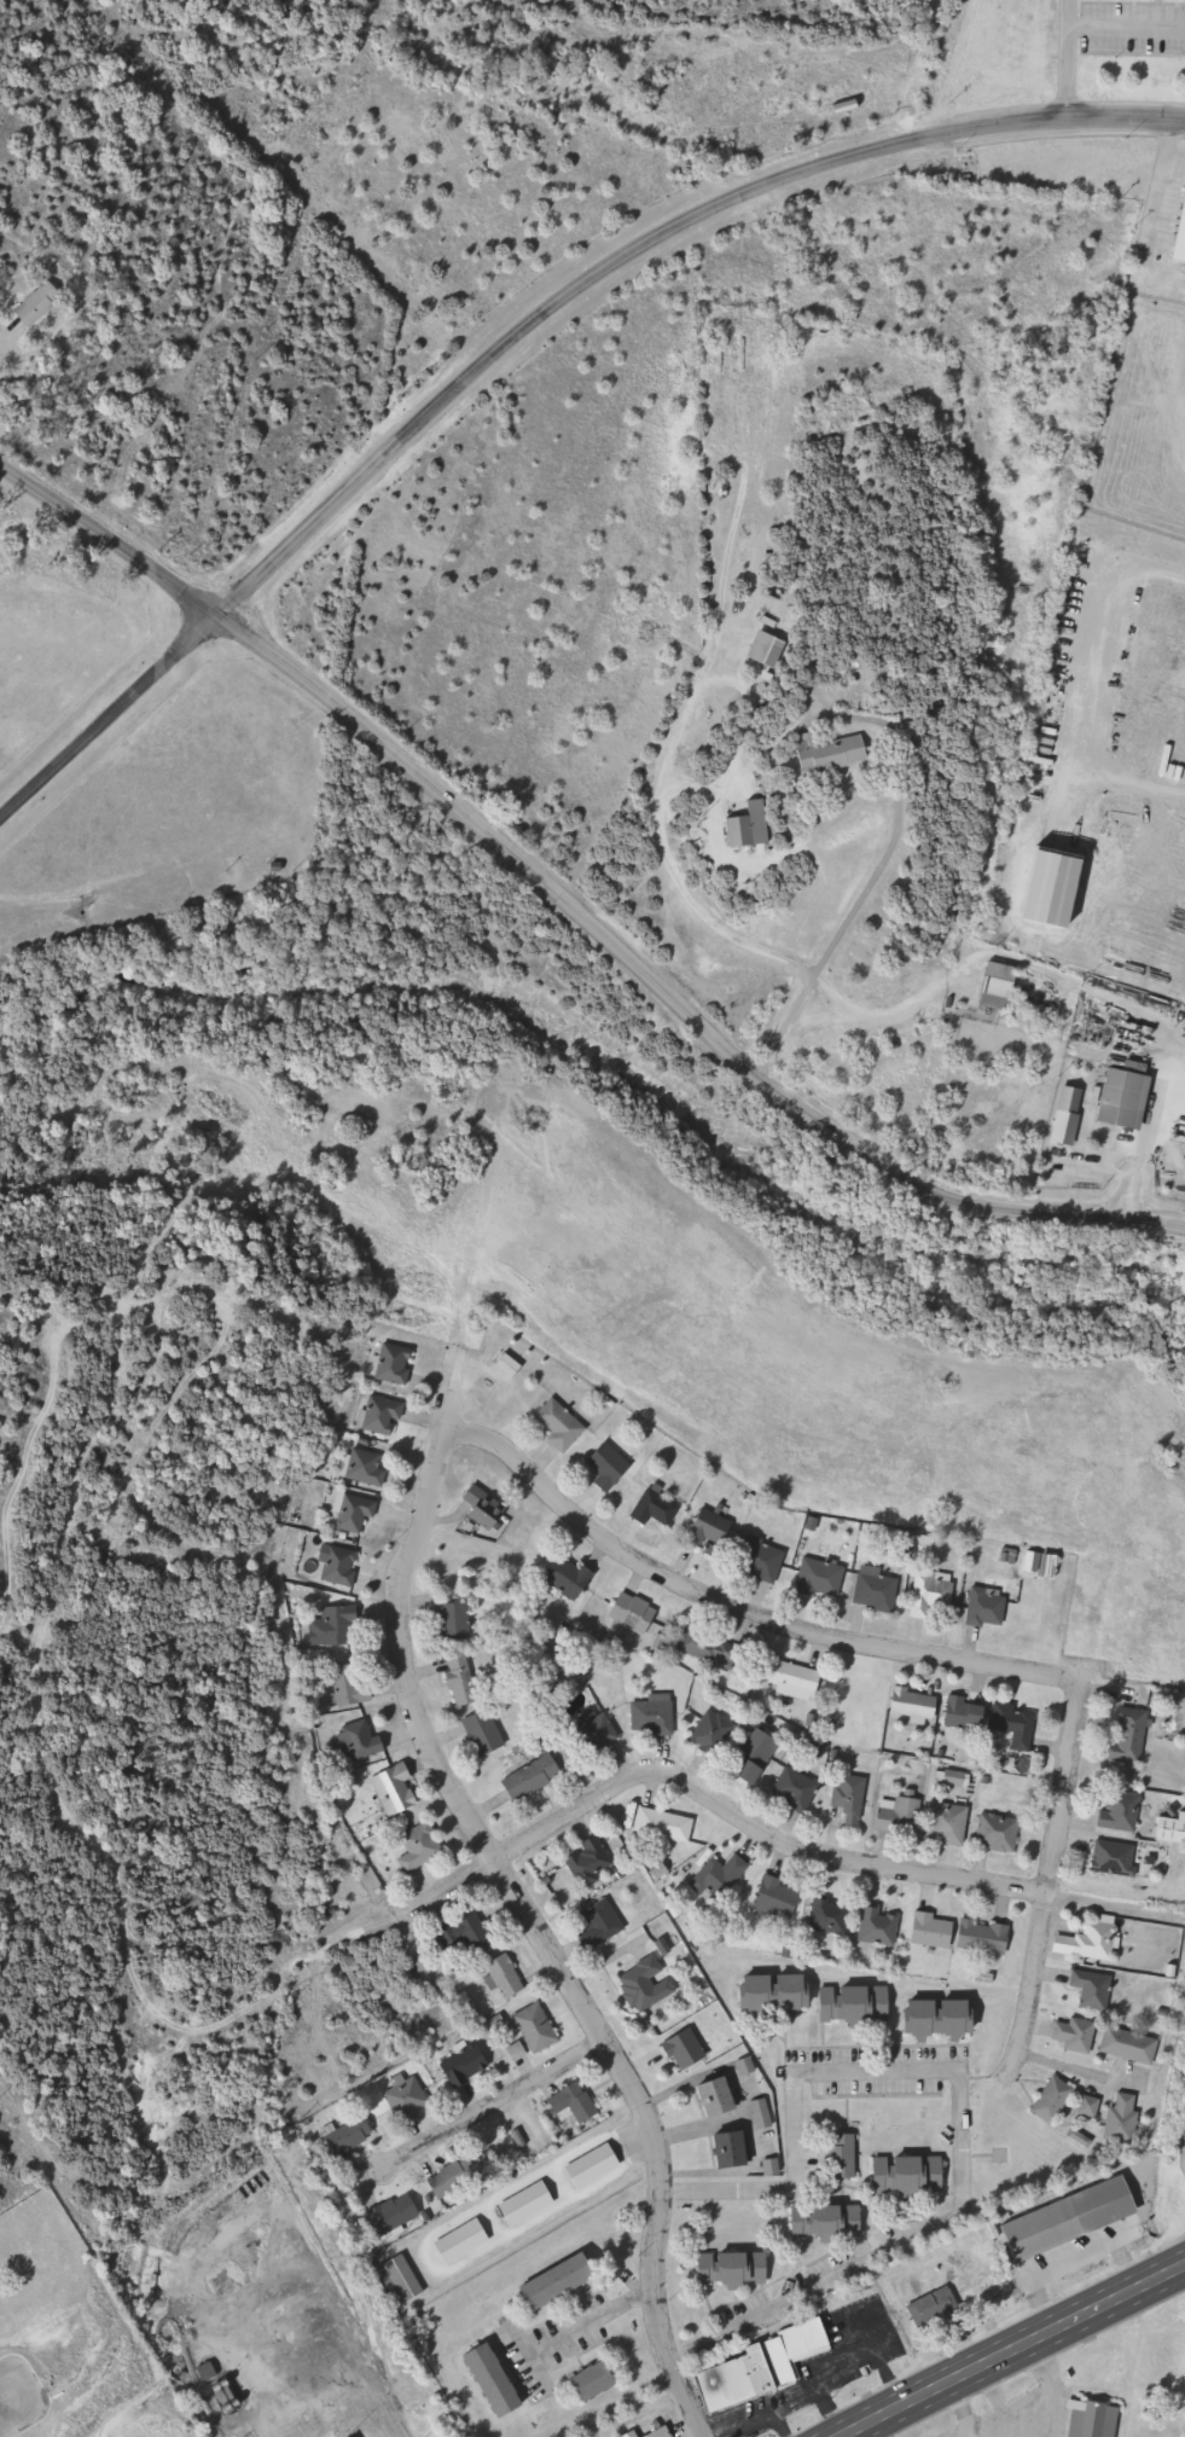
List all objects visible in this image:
road: (935, 22)
road: (597, 27)
road: (1125, 27)
road: (1063, 59)
road: (905, 230)
building: (43, 303)
road: (522, 331)
building: (778, 649)
building: (847, 752)
road: (1007, 793)
building: (761, 826)
road: (569, 904)
building: (1001, 985)
building: (1129, 1098)
building: (1070, 1116)
building: (395, 1364)
building: (511, 1365)
road: (443, 1391)
building: (384, 1416)
building: (562, 1426)
building: (610, 1467)
building: (367, 1468)
building: (657, 1508)
building: (486, 1509)
building: (356, 1513)
building: (713, 1530)
building: (762, 1561)
building: (341, 1567)
road: (657, 1572)
building: (823, 1580)
building: (877, 1592)
building: (933, 1595)
building: (988, 1608)
building: (634, 1614)
building: (457, 1621)
building: (339, 1626)
building: (707, 1650)
building: (464, 1681)
building: (795, 1681)
building: (352, 1688)
building: (917, 1705)
building: (969, 1714)
building: (655, 1716)
building: (1018, 1725)
building: (486, 1733)
building: (594, 1734)
building: (713, 1734)
building: (1119, 1735)
building: (360, 1741)
building: (756, 1757)
building: (533, 1777)
building: (397, 1791)
building: (796, 1791)
building: (852, 1798)
road: (715, 1804)
building: (1111, 1810)
building: (901, 1816)
building: (949, 1824)
building: (666, 1826)
building: (1166, 1828)
building: (999, 1833)
building: (422, 1847)
building: (1106, 1857)
building: (592, 1862)
building: (721, 1878)
road: (1046, 1882)
building: (779, 1898)
building: (831, 1916)
building: (603, 1925)
building: (879, 1927)
building: (936, 1931)
building: (467, 1934)
building: (987, 1938)
building: (1081, 1940)
building: (507, 1977)
building: (647, 1985)
building: (1084, 1992)
building: (820, 2000)
road: (579, 2007)
building: (942, 2020)
building: (539, 2029)
building: (1068, 2035)
building: (1122, 2046)
building: (687, 2052)
building: (471, 2072)
road: (513, 2094)
building: (408, 2100)
building: (714, 2101)
building: (1045, 2101)
road: (960, 2102)
building: (576, 2104)
building: (1082, 2106)
building: (1116, 2118)
building: (352, 2136)
building: (728, 2152)
building: (844, 2158)
building: (594, 2168)
building: (911, 2176)
building: (457, 2180)
building: (529, 2205)
building: (395, 2215)
building: (1059, 2220)
building: (830, 2223)
building: (464, 2242)
building: (737, 2268)
building: (403, 2281)
building: (563, 2282)
building: (936, 2308)
road: (1018, 2351)
building: (766, 2366)
building: (208, 2372)
building: (500, 2380)
building: (600, 2380)
building: (1084, 2420)
building: (664, 2432)
building: (635, 2435)

